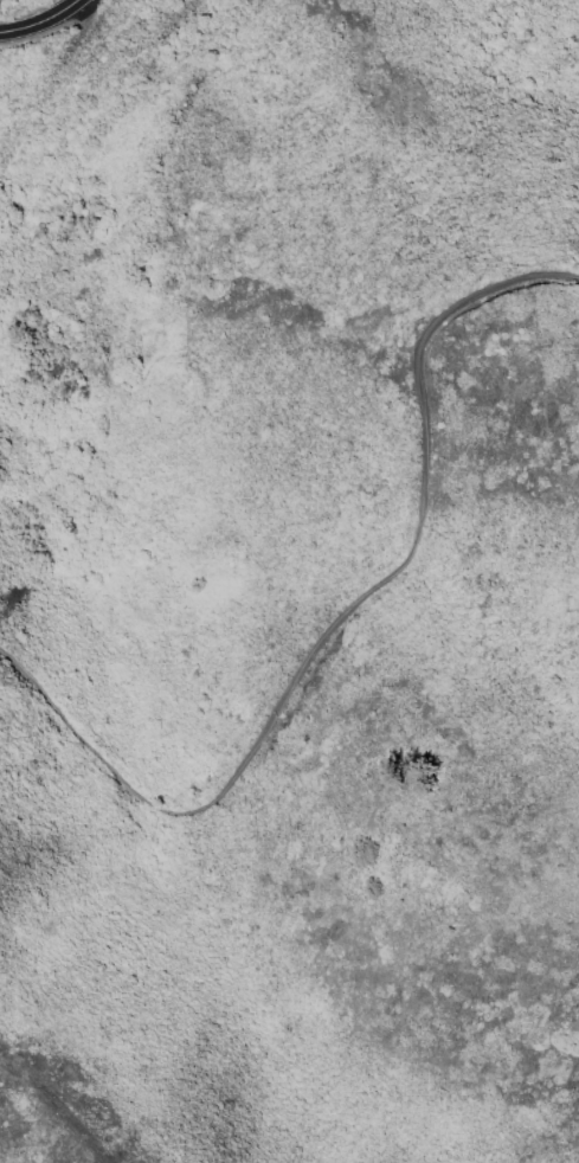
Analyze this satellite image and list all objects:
road: (43, 20)
road: (345, 617)

